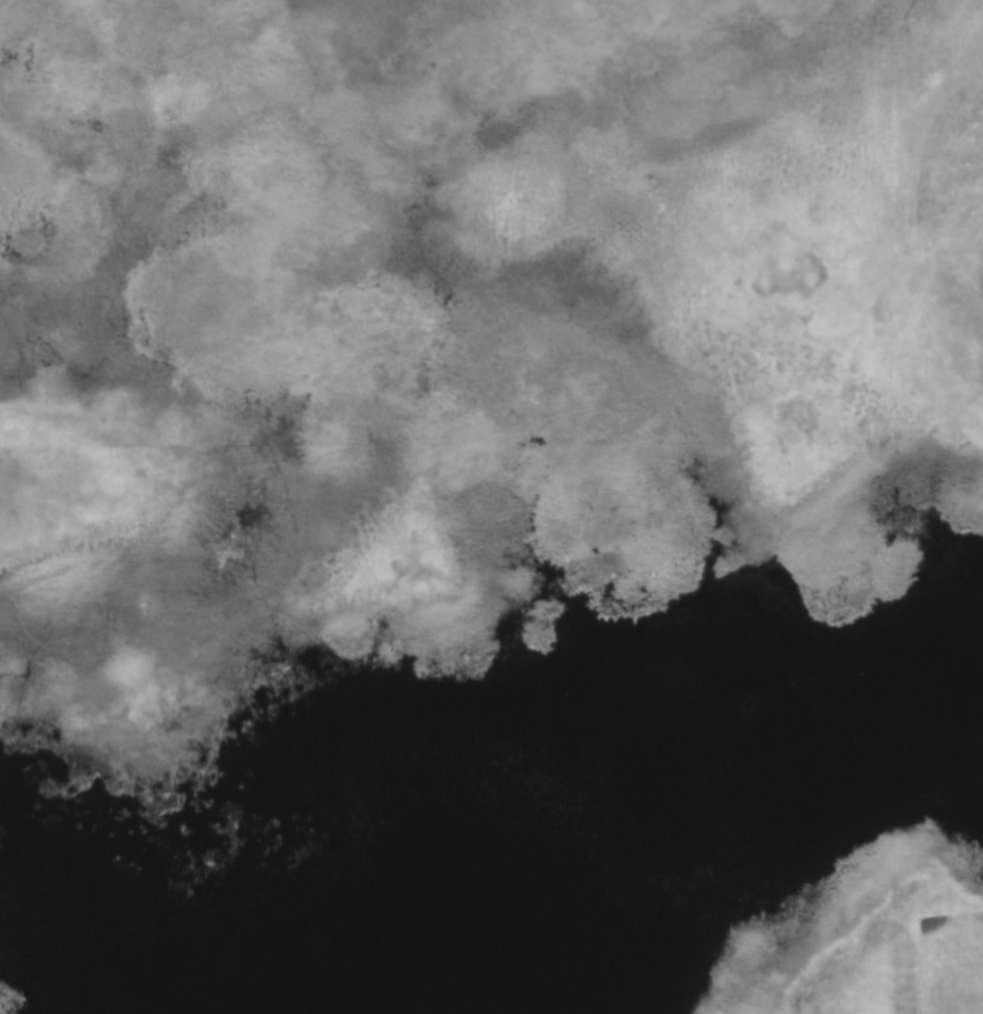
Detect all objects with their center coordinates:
road: (889, 732)

